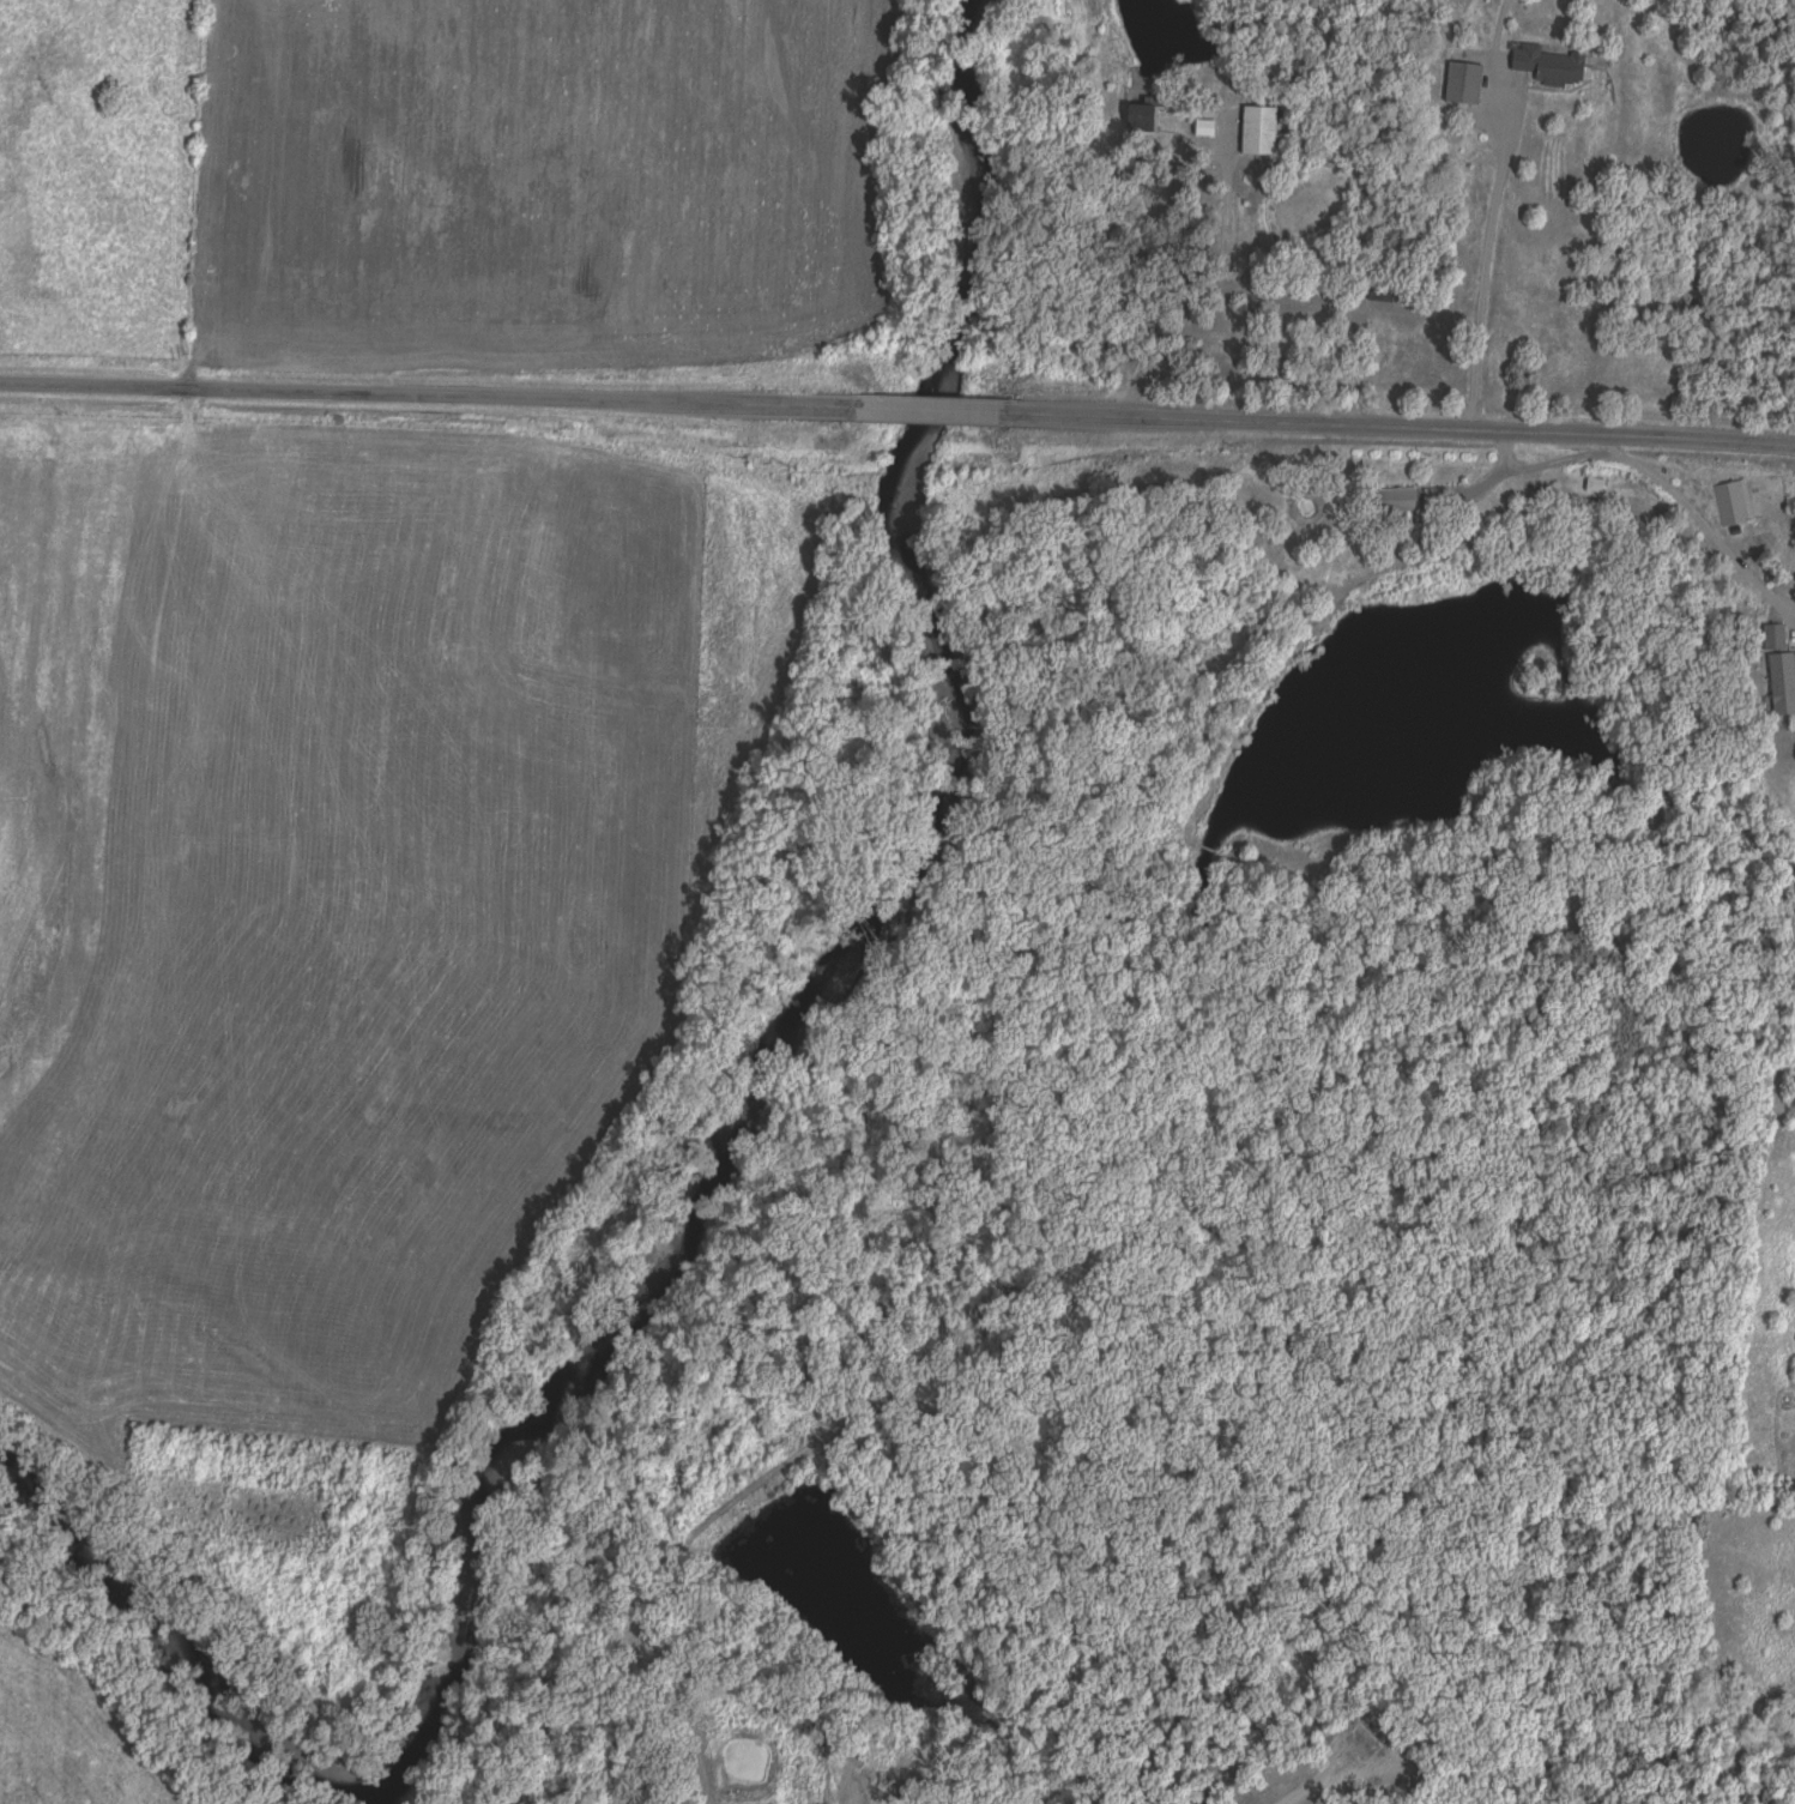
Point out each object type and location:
building: (1548, 66)
building: (1464, 85)
building: (1143, 120)
building: (422, 129)
building: (1205, 129)
building: (1259, 133)
road: (1486, 246)
road: (1214, 280)
building: (1382, 297)
road: (424, 391)
road: (923, 410)
road: (1396, 427)
road: (1658, 476)
building: (1596, 485)
building: (1397, 505)
building: (1733, 505)
building: (1776, 638)
building: (1783, 683)

